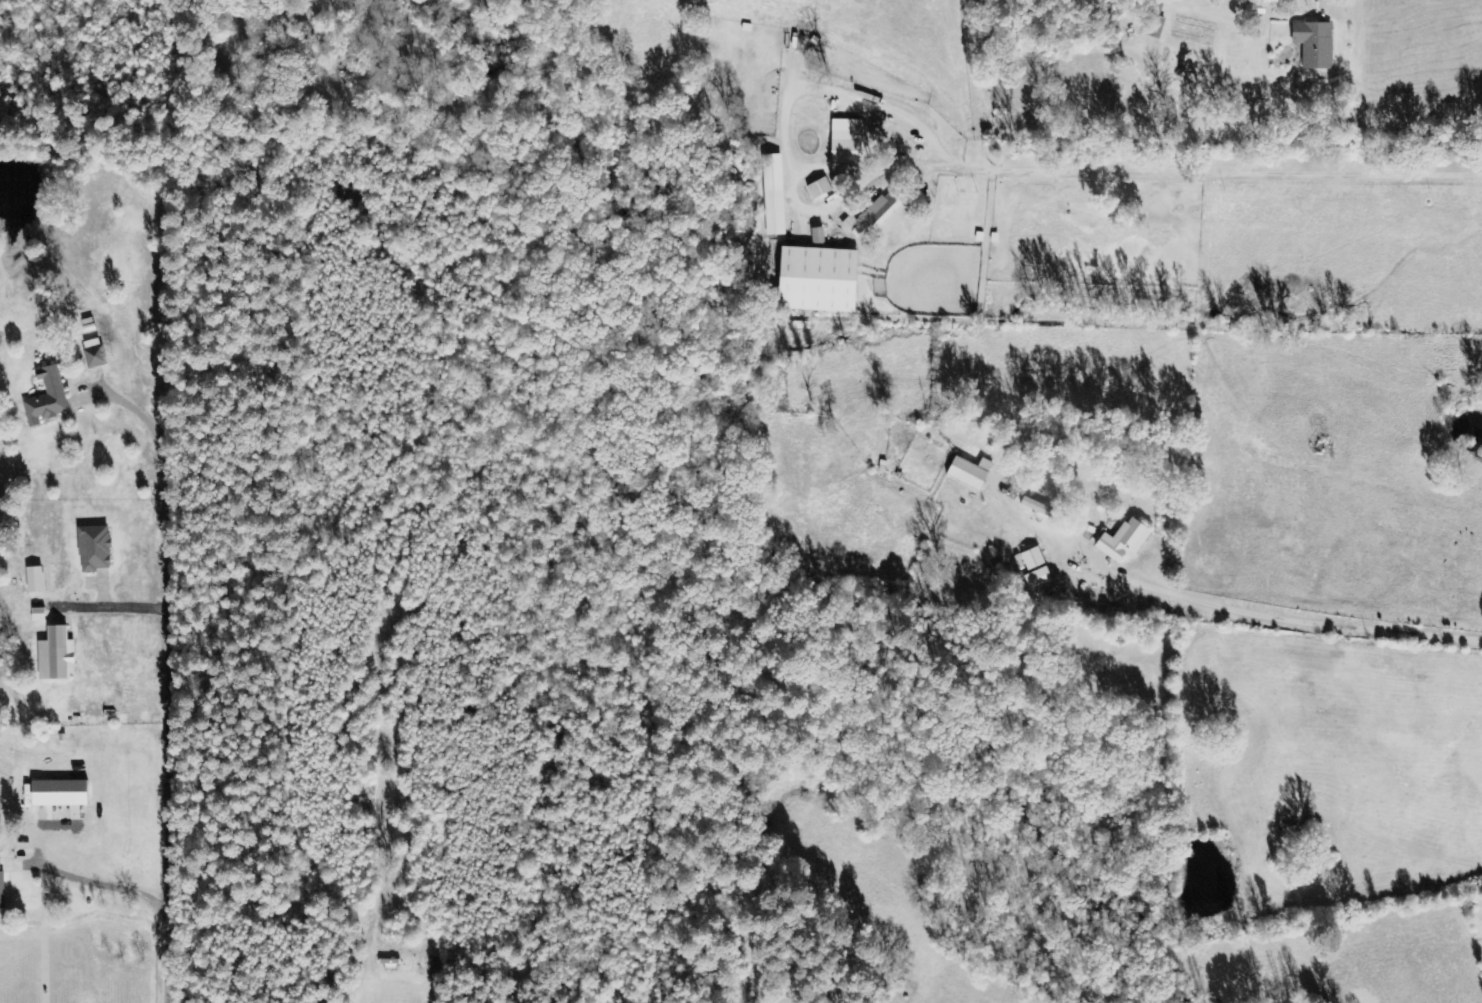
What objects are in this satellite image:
building: (1155, 26)
road: (1387, 36)
building: (1315, 44)
building: (847, 141)
building: (819, 188)
building: (773, 195)
building: (879, 216)
building: (818, 235)
building: (821, 279)
road: (1288, 315)
building: (800, 325)
building: (95, 353)
building: (48, 397)
building: (971, 473)
road: (1033, 479)
building: (1037, 507)
building: (1125, 540)
building: (96, 548)
building: (1033, 559)
building: (1039, 578)
building: (37, 579)
building: (58, 655)

